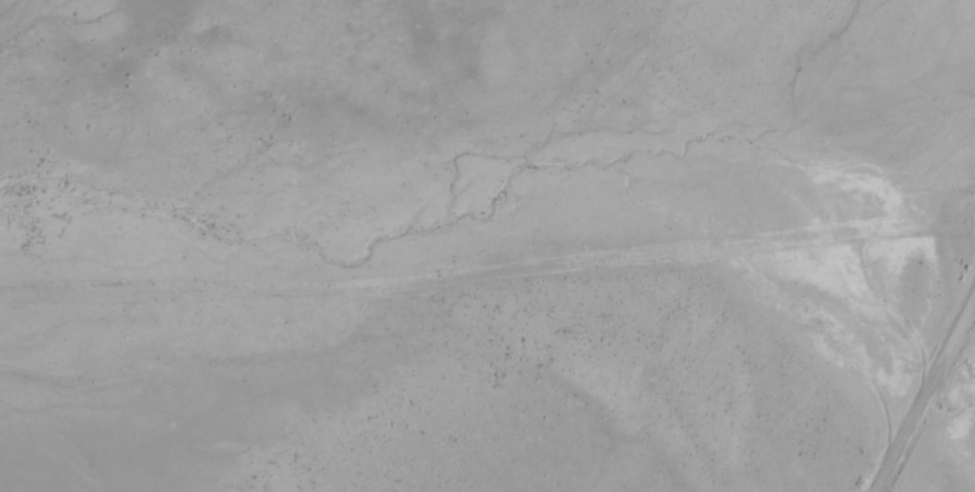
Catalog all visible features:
road: (923, 392)
road: (67, 432)

